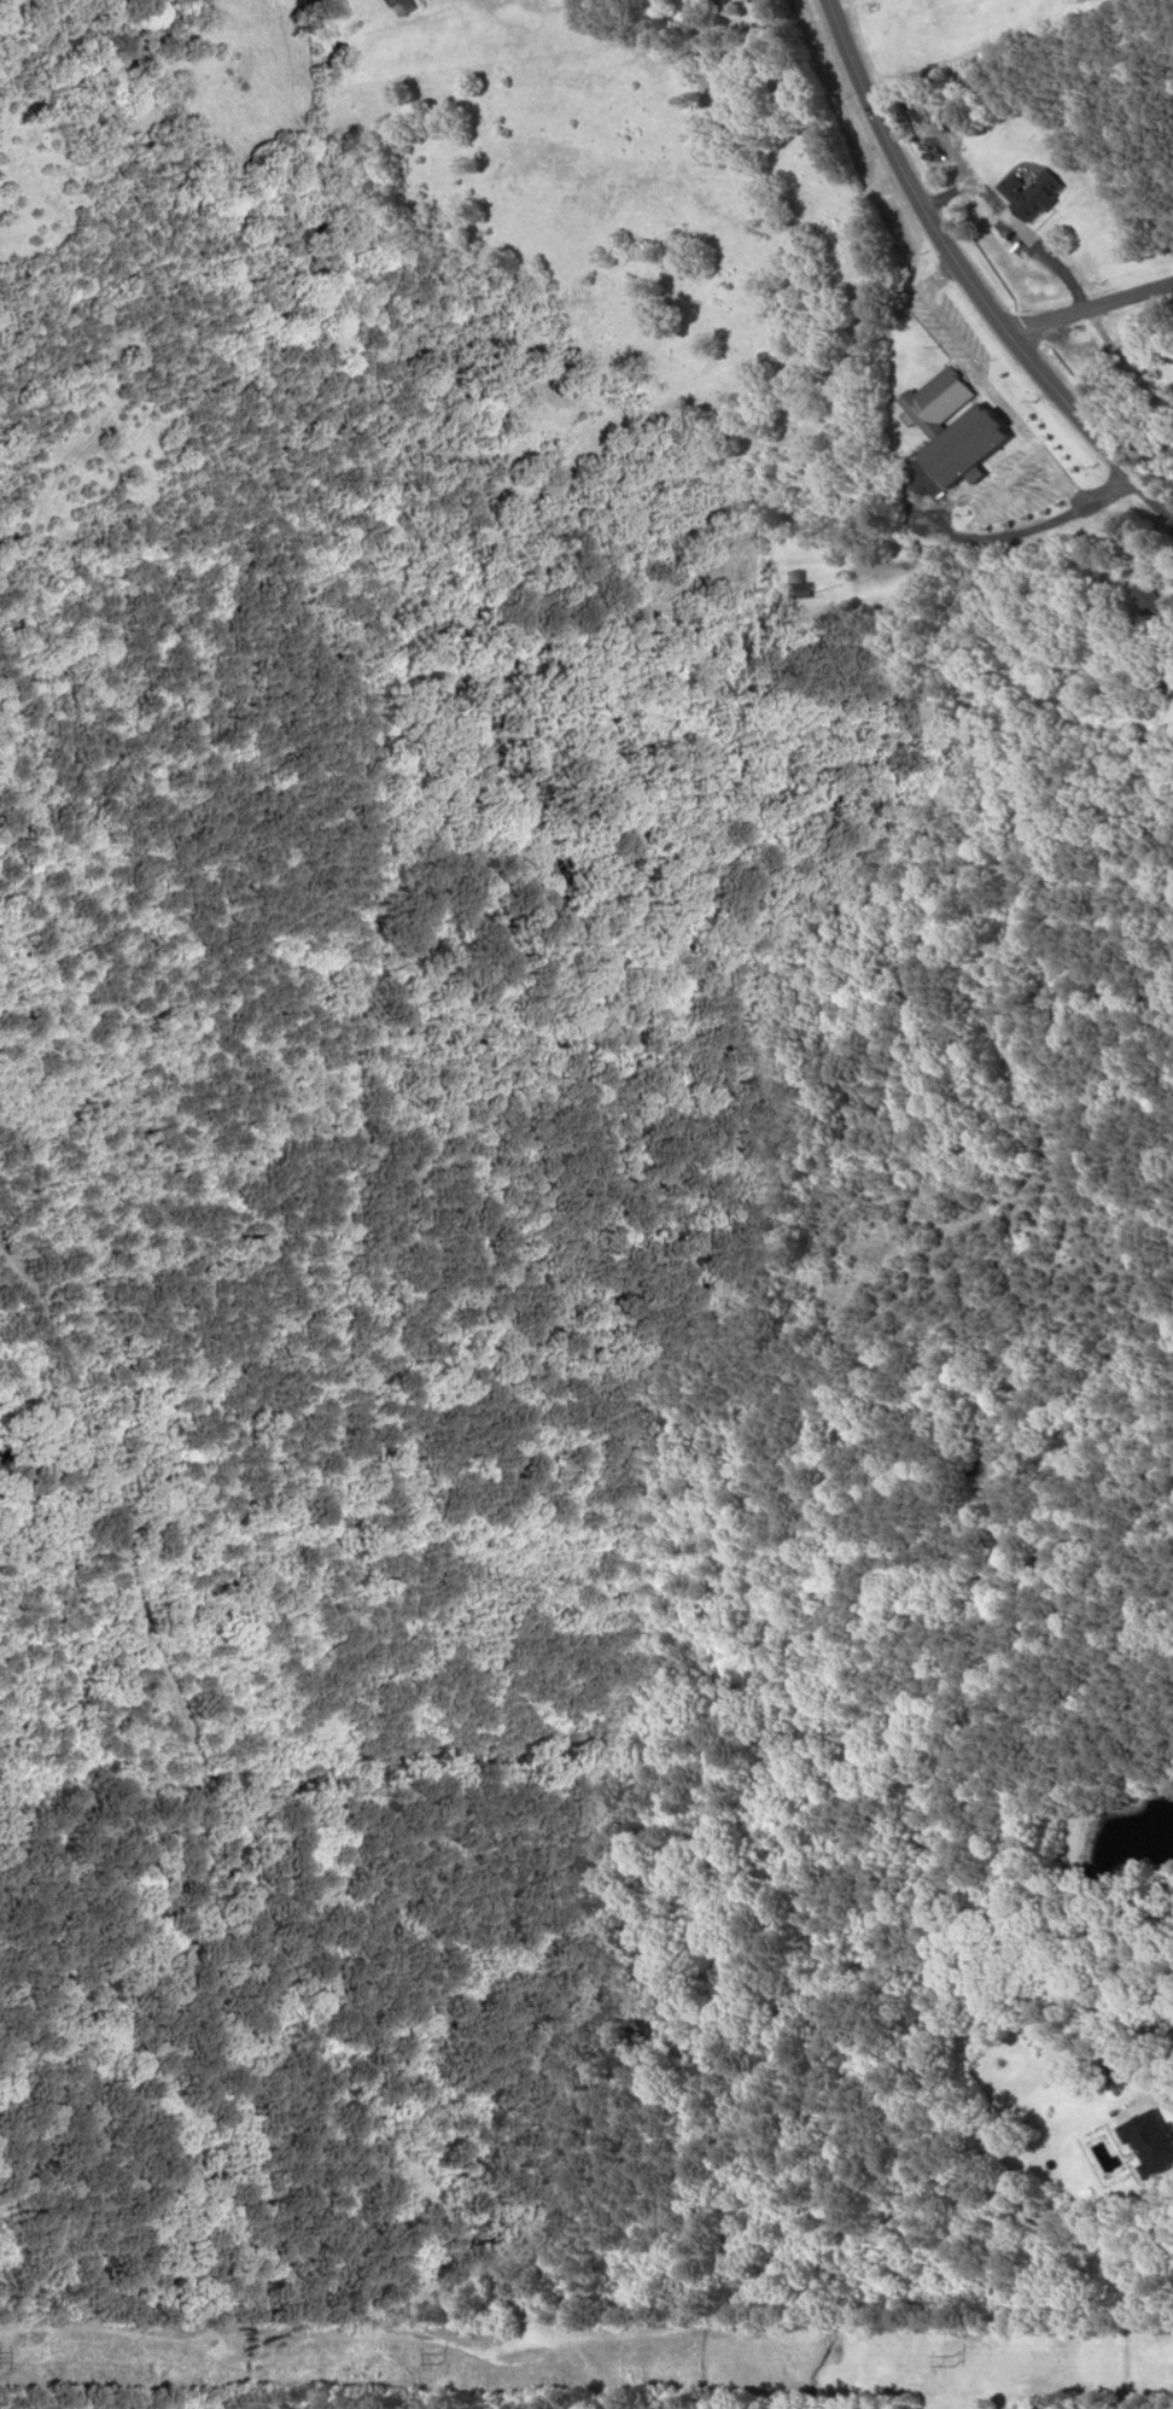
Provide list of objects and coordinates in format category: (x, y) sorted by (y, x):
building: (389, 0)
building: (408, 5)
building: (1032, 192)
road: (975, 275)
road: (1092, 308)
building: (940, 399)
building: (969, 442)
building: (798, 584)
building: (1151, 601)
building: (1152, 2135)
power tower: (437, 2357)
power tower: (951, 2360)

